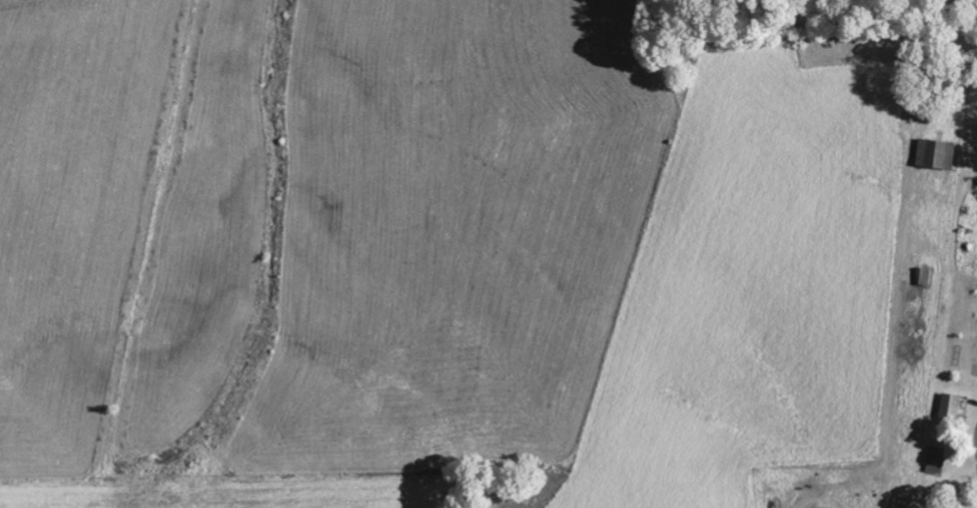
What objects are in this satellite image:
building: (936, 154)
building: (954, 404)
building: (936, 460)

